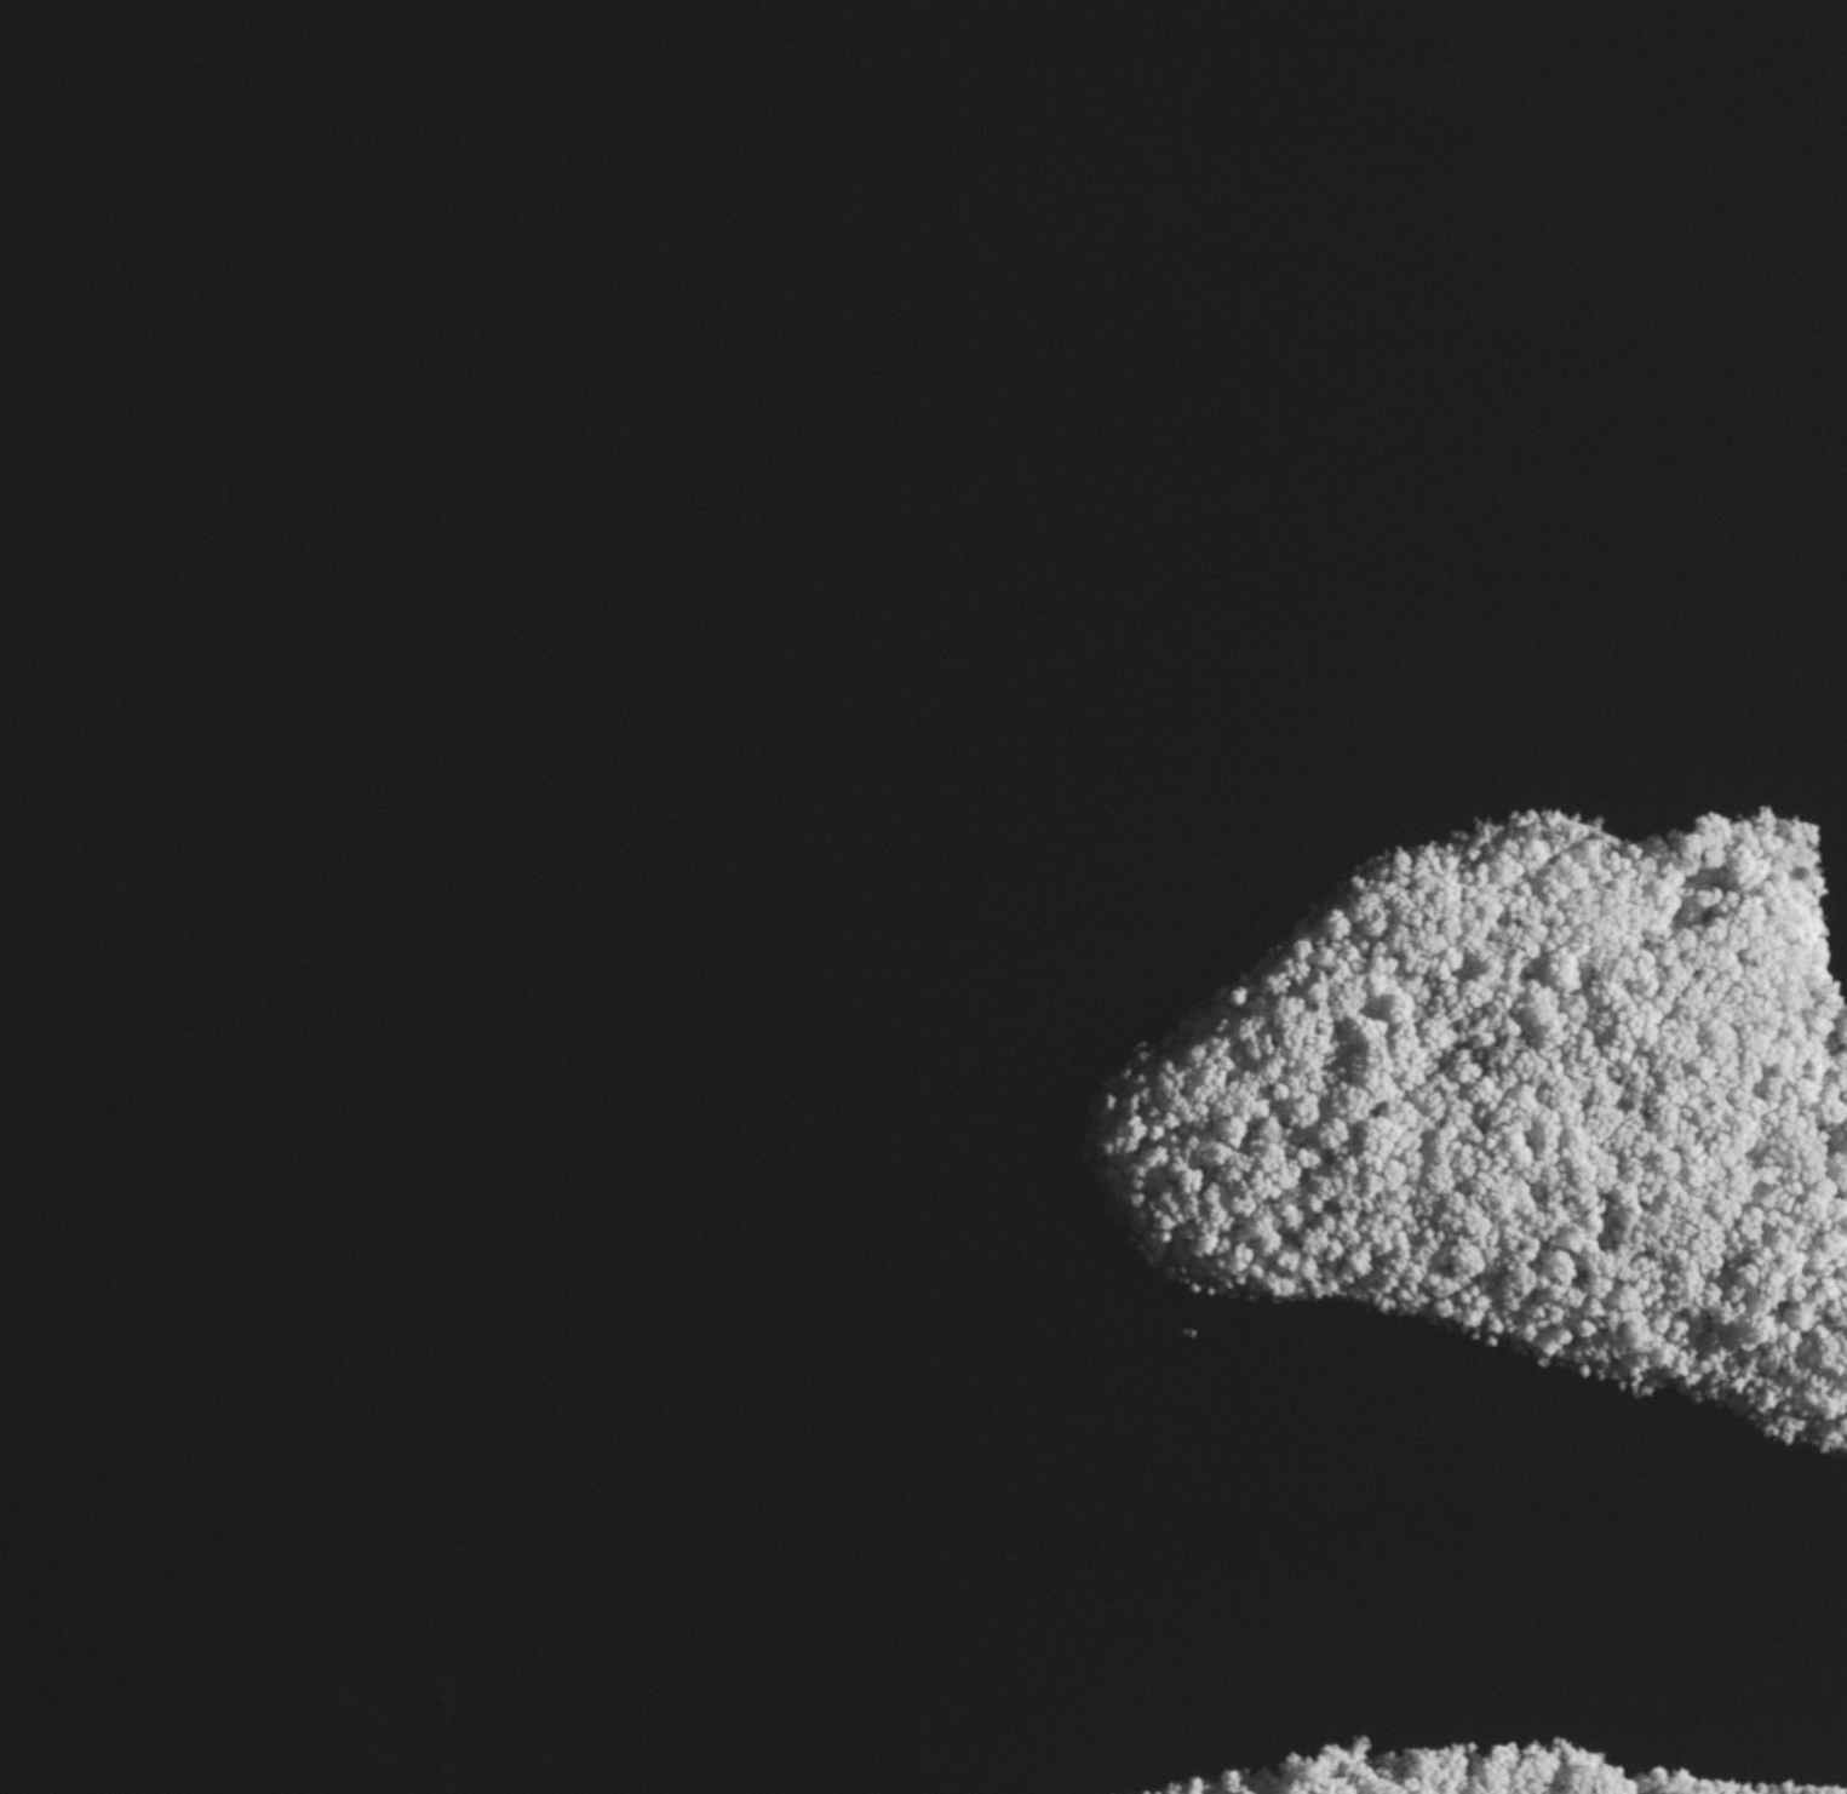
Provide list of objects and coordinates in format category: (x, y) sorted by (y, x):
river: (702, 455)

